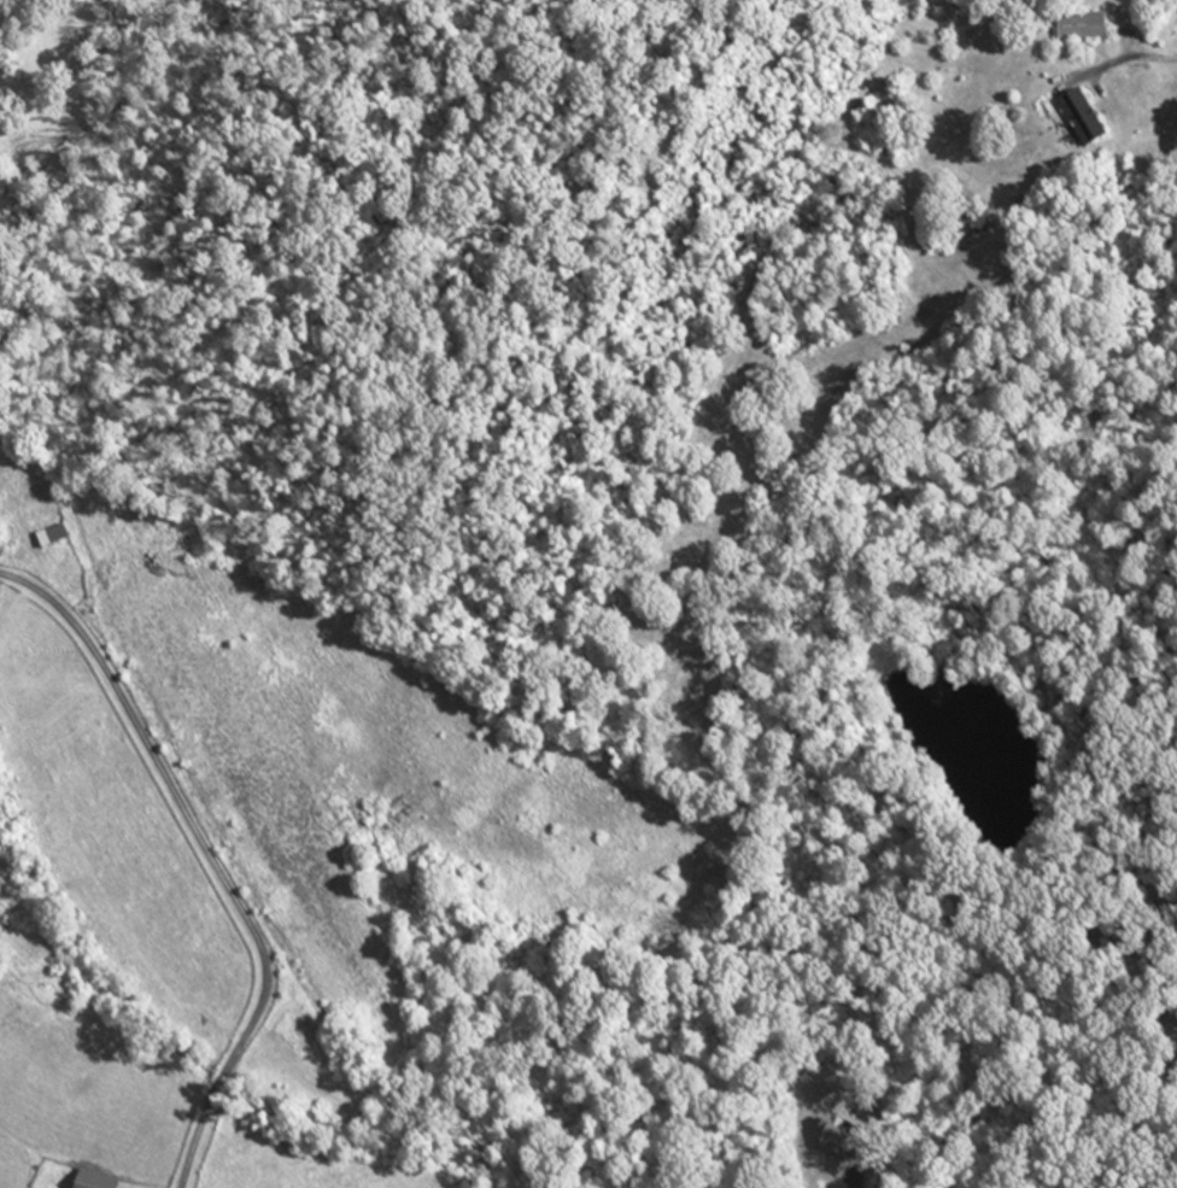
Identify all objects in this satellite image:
building: (1082, 28)
road: (1131, 57)
building: (1082, 119)
building: (49, 538)
road: (209, 859)
building: (92, 1182)

